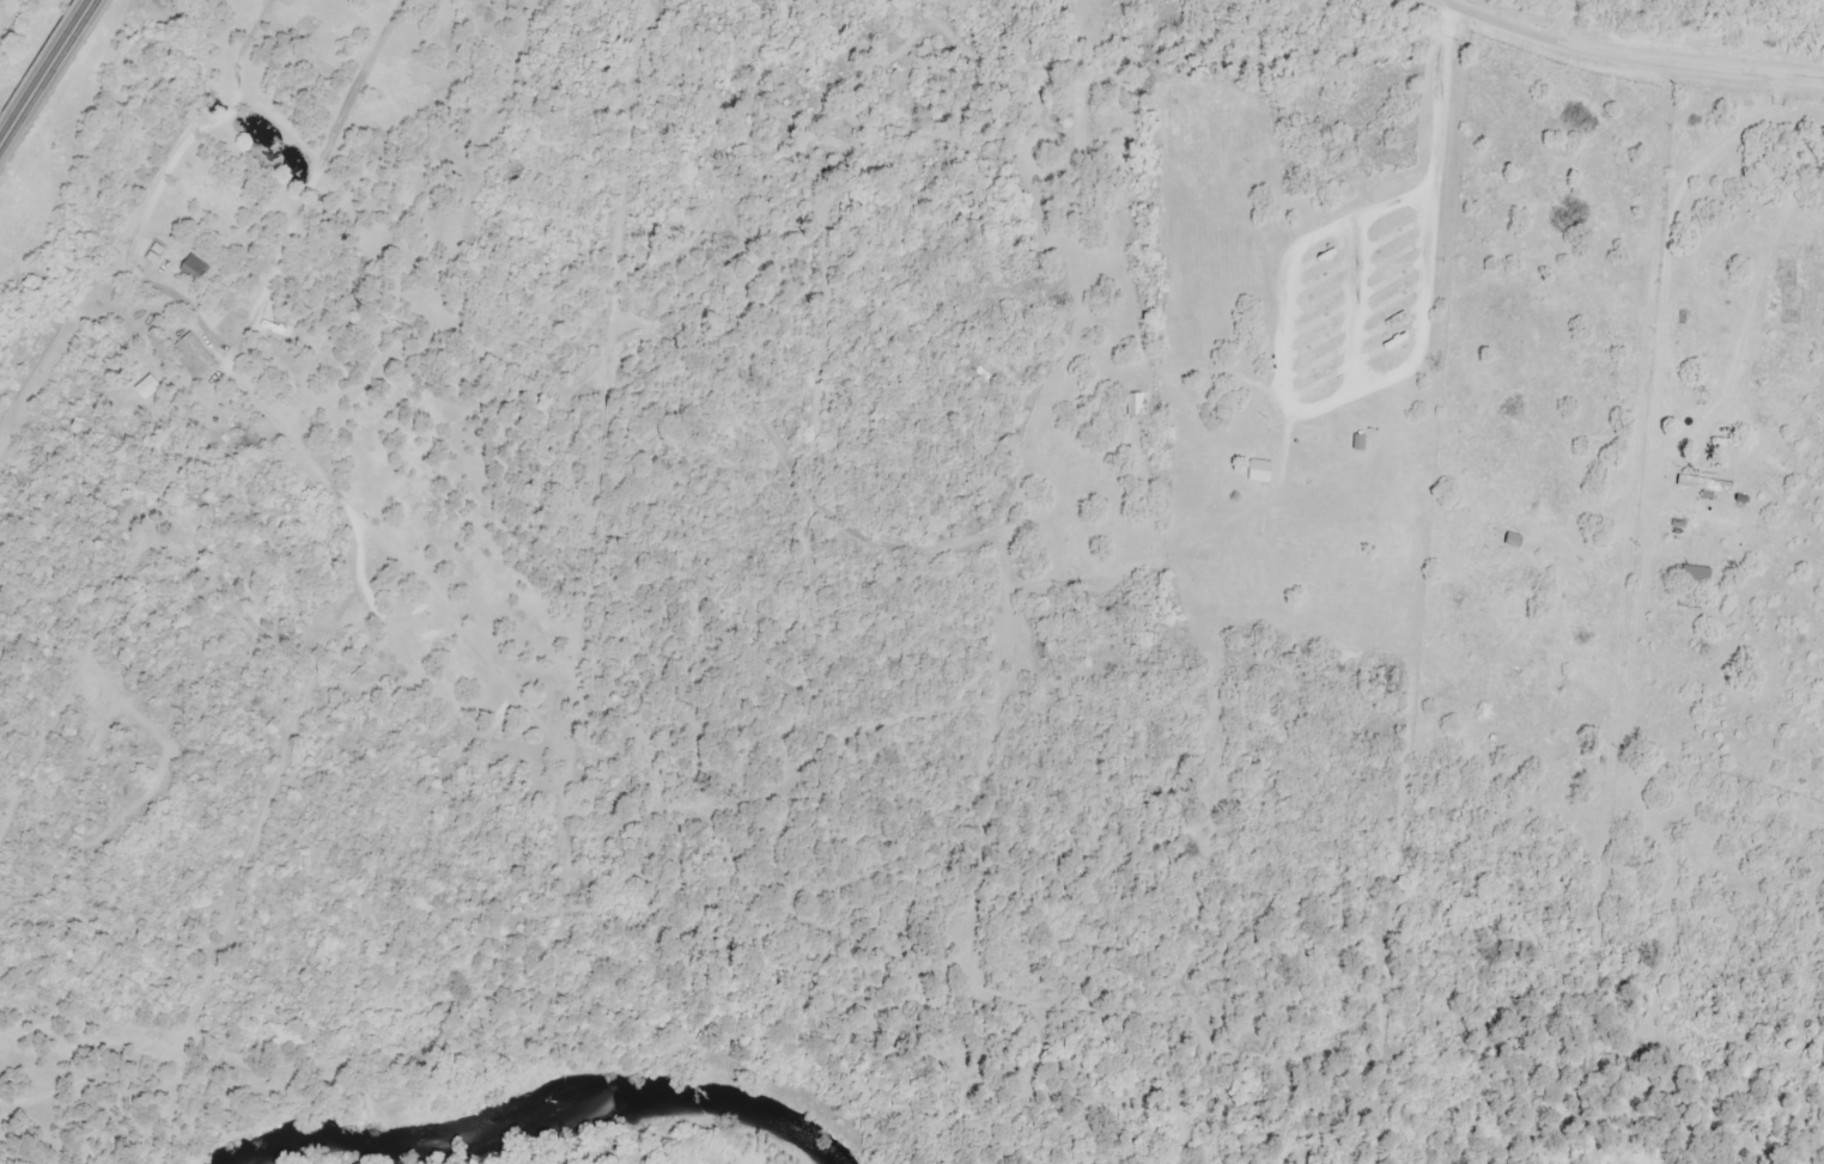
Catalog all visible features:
road: (1622, 56)
road: (48, 73)
building: (195, 266)
building: (1789, 304)
road: (207, 333)
building: (194, 356)
building: (1135, 406)
building: (1260, 471)
building: (1703, 485)
road: (369, 531)
building: (1516, 543)
building: (1692, 578)
road: (113, 604)
park: (291, 618)
road: (243, 874)
river: (542, 1105)

